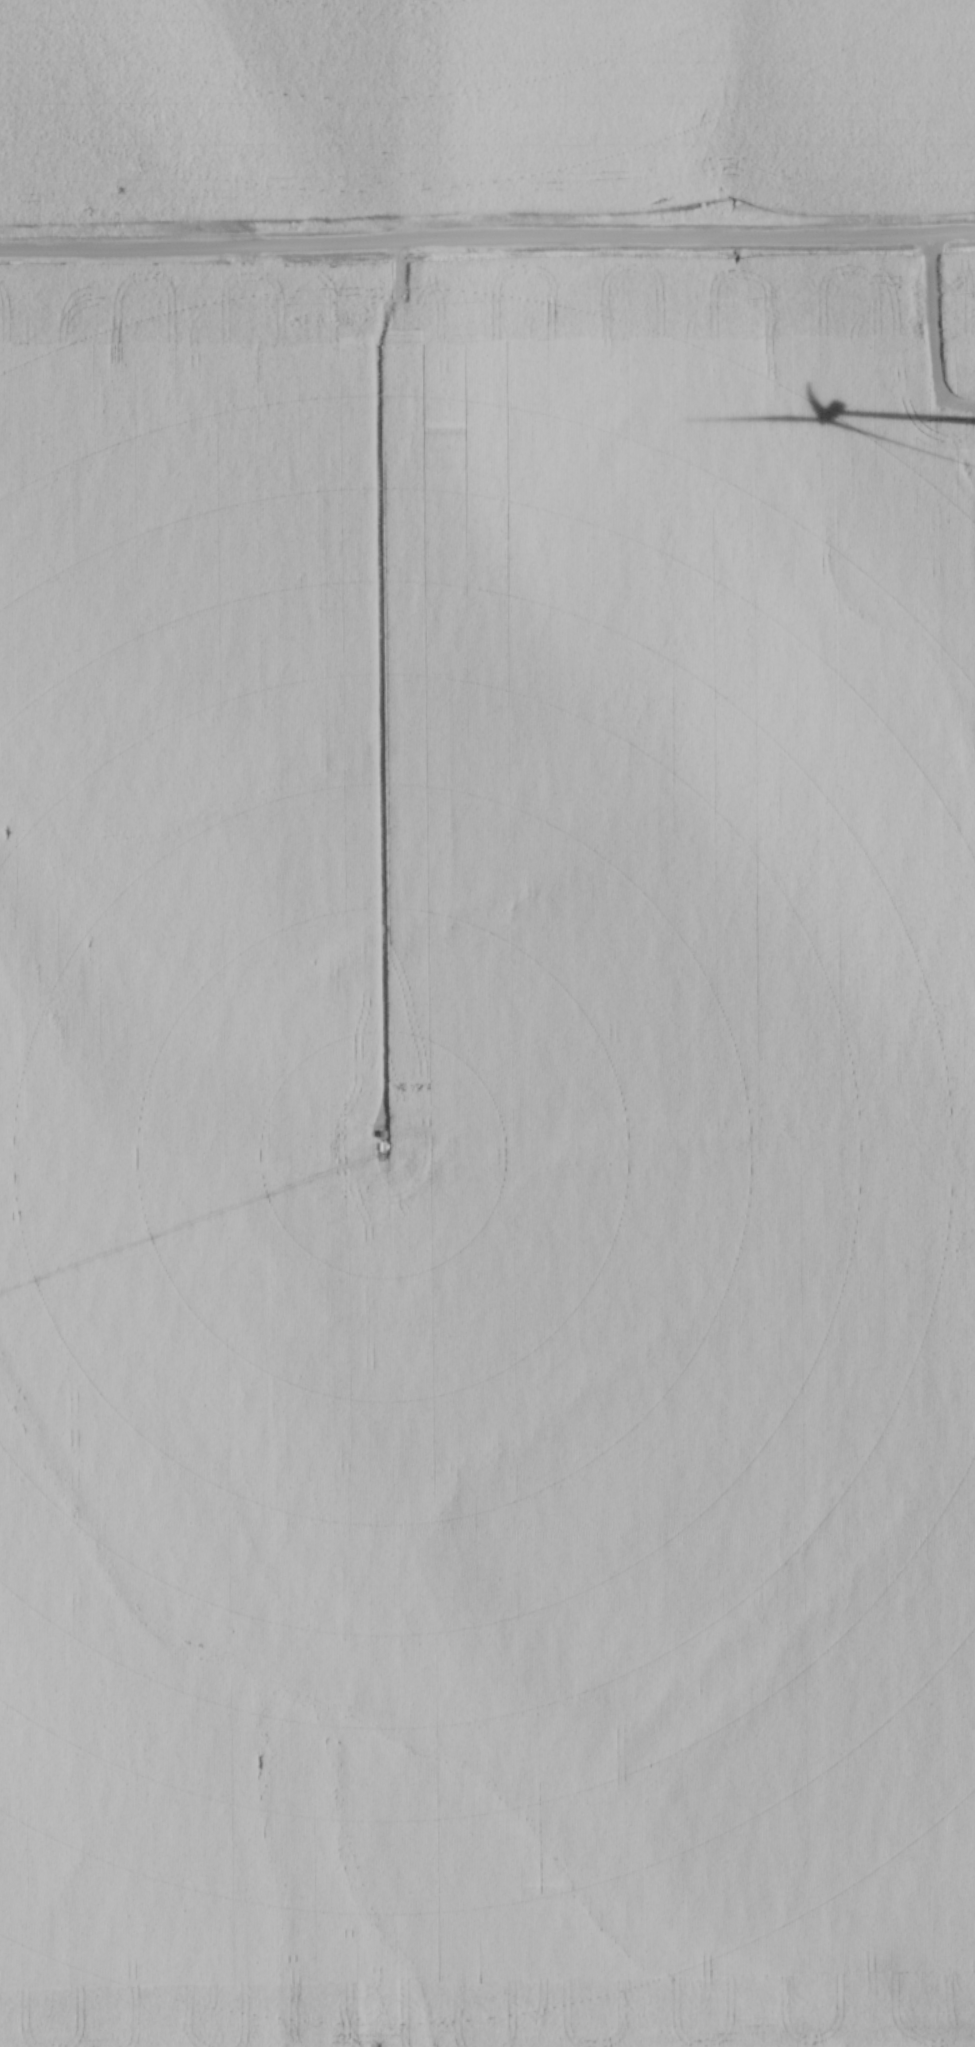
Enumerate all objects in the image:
road: (487, 246)

